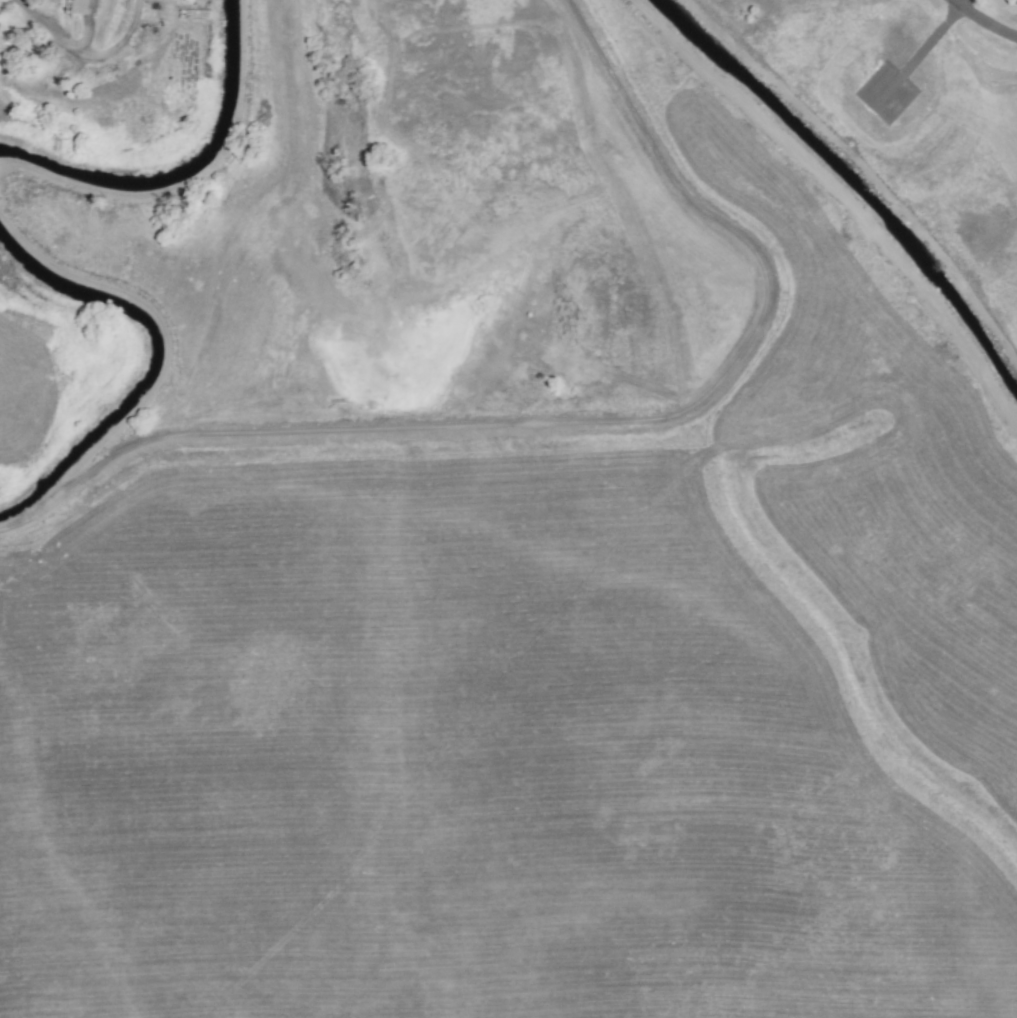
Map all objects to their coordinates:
building: (76, 6)
road: (985, 20)
road: (90, 29)
road: (919, 53)
road: (85, 54)

